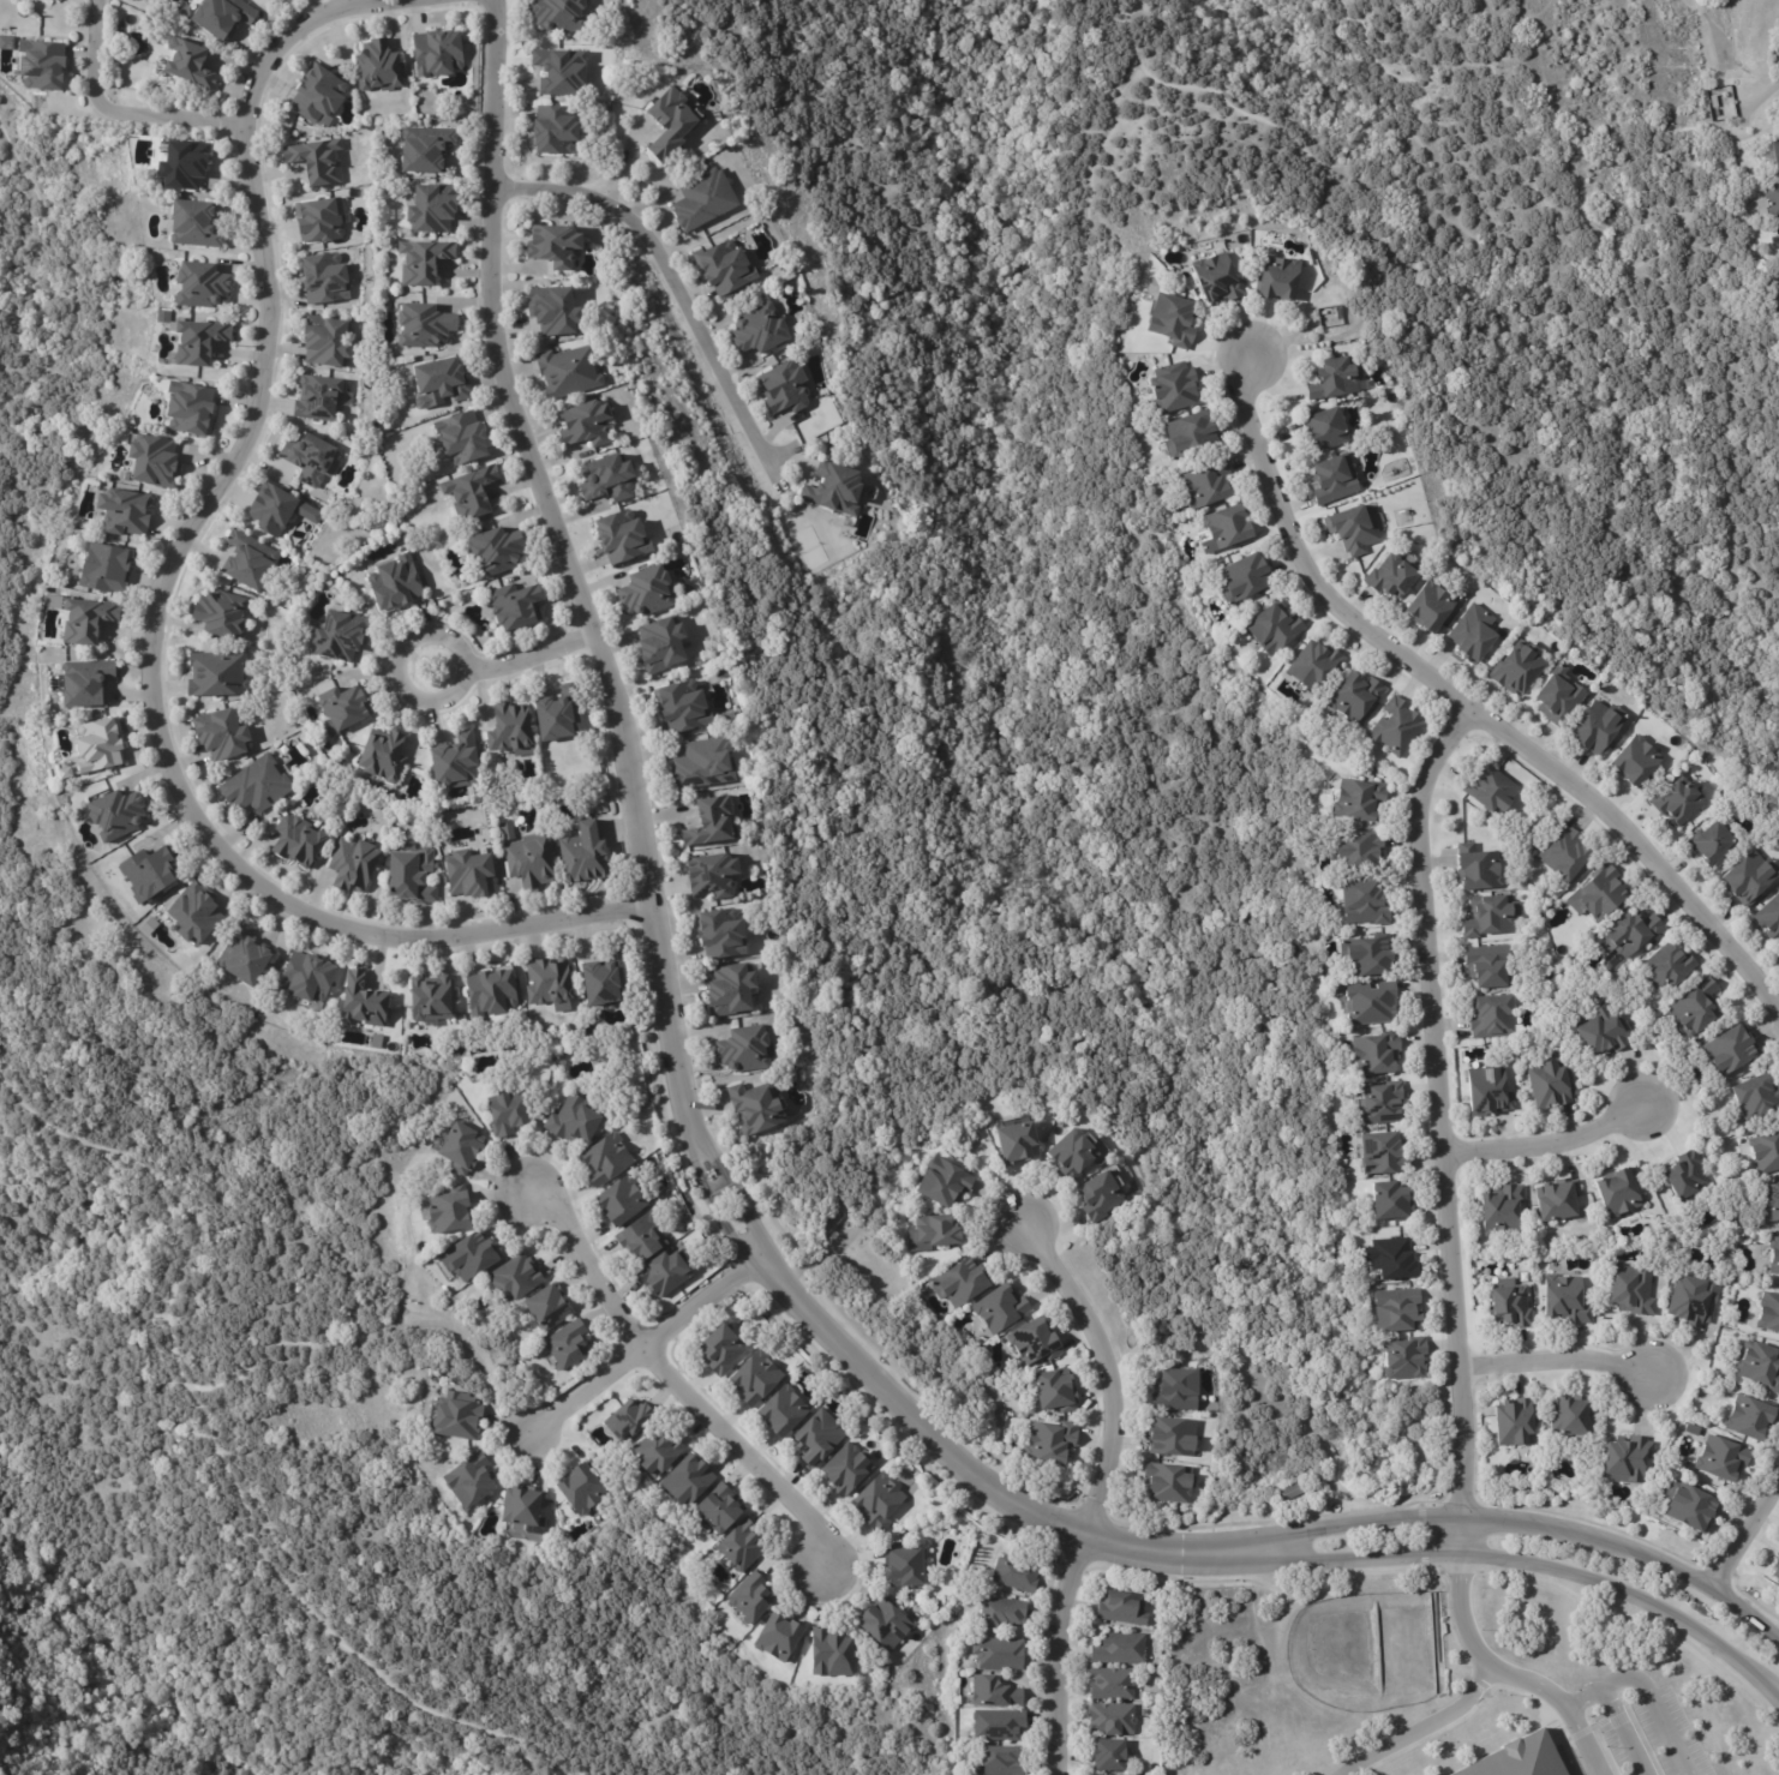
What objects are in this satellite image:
building: (52, 0)
building: (266, 0)
building: (558, 14)
building: (218, 17)
building: (436, 53)
building: (187, 64)
building: (36, 66)
building: (377, 66)
building: (558, 71)
building: (316, 96)
building: (1719, 102)
road: (110, 115)
building: (669, 124)
building: (552, 131)
building: (421, 149)
building: (1775, 155)
road: (624, 157)
building: (317, 161)
building: (180, 164)
building: (701, 199)
building: (1769, 202)
building: (429, 209)
building: (316, 220)
building: (190, 223)
building: (1778, 232)
building: (551, 246)
building: (1775, 247)
building: (423, 260)
building: (725, 269)
building: (1216, 275)
building: (1276, 276)
road: (666, 277)
building: (321, 278)
building: (199, 286)
building: (553, 312)
building: (1170, 316)
building: (423, 325)
building: (757, 330)
building: (193, 341)
building: (327, 341)
building: (567, 371)
building: (1332, 376)
building: (438, 384)
building: (1173, 384)
building: (784, 388)
building: (318, 398)
building: (186, 409)
building: (586, 424)
building: (1325, 426)
building: (1188, 432)
building: (460, 438)
building: (310, 458)
building: (149, 462)
building: (1332, 476)
building: (607, 479)
building: (1206, 481)
building: (833, 490)
building: (471, 492)
building: (277, 509)
building: (121, 512)
building: (1227, 524)
building: (1350, 527)
building: (618, 538)
building: (493, 548)
building: (247, 562)
building: (101, 568)
building: (1242, 575)
building: (1391, 575)
building: (394, 581)
building: (688, 586)
building: (646, 592)
building: (515, 604)
building: (1428, 604)
building: (218, 614)
building: (86, 620)
road: (160, 622)
building: (1271, 626)
building: (1472, 631)
building: (342, 635)
building: (661, 646)
road: (531, 656)
building: (1313, 662)
building: (1517, 668)
road: (391, 672)
building: (721, 672)
building: (216, 676)
building: (79, 685)
building: (1353, 695)
building: (1558, 695)
building: (345, 708)
building: (683, 708)
road: (1470, 712)
building: (557, 718)
building: (726, 719)
building: (1395, 725)
building: (1597, 725)
building: (511, 731)
building: (221, 737)
building: (339, 743)
building: (94, 749)
building: (382, 754)
building: (1635, 758)
building: (457, 760)
building: (700, 761)
building: (253, 787)
building: (1490, 787)
building: (1358, 798)
building: (1678, 800)
building: (113, 816)
building: (711, 818)
building: (296, 844)
building: (1713, 844)
building: (1361, 851)
building: (1563, 852)
building: (582, 854)
building: (523, 856)
building: (352, 865)
building: (1476, 866)
building: (473, 871)
building: (148, 874)
building: (411, 874)
building: (712, 876)
building: (1750, 876)
building: (1598, 892)
building: (1362, 901)
building: (1490, 915)
building: (192, 916)
building: (1769, 918)
road: (659, 921)
building: (1630, 933)
building: (720, 935)
building: (1366, 954)
building: (241, 958)
building: (1670, 964)
building: (1489, 965)
building: (305, 978)
building: (604, 982)
building: (549, 983)
building: (729, 991)
building: (490, 994)
building: (361, 1002)
building: (430, 1002)
building: (1370, 1002)
building: (1695, 1007)
building: (1491, 1015)
building: (1603, 1031)
building: (743, 1049)
building: (1730, 1049)
building: (1376, 1053)
building: (1551, 1083)
building: (1487, 1092)
building: (1756, 1098)
building: (1382, 1102)
road: (1442, 1108)
building: (755, 1109)
building: (504, 1113)
building: (574, 1121)
building: (1014, 1143)
building: (460, 1145)
road: (1549, 1149)
building: (1766, 1152)
building: (1383, 1153)
building: (1070, 1155)
building: (605, 1161)
building: (1685, 1176)
building: (940, 1182)
building: (1619, 1192)
building: (1098, 1197)
building: (1557, 1199)
building: (1390, 1201)
building: (1771, 1203)
building: (621, 1204)
building: (1502, 1210)
building: (448, 1211)
building: (932, 1233)
building: (642, 1240)
building: (468, 1255)
building: (1774, 1255)
building: (1390, 1258)
building: (514, 1277)
building: (663, 1277)
building: (958, 1283)
building: (1631, 1293)
building: (1694, 1300)
building: (1565, 1301)
building: (546, 1306)
building: (1510, 1306)
building: (999, 1308)
building: (1395, 1311)
building: (1768, 1312)
building: (1034, 1342)
building: (567, 1344)
building: (719, 1345)
road: (648, 1347)
building: (1404, 1359)
road: (1559, 1361)
building: (1760, 1366)
building: (754, 1377)
road: (676, 1383)
building: (1055, 1391)
building: (1175, 1391)
building: (779, 1408)
building: (1569, 1413)
building: (454, 1416)
building: (628, 1419)
building: (1749, 1419)
building: (1513, 1420)
building: (816, 1435)
building: (1170, 1438)
building: (1049, 1443)
building: (657, 1451)
building: (1623, 1457)
building: (1721, 1459)
building: (845, 1467)
building: (687, 1479)
building: (471, 1481)
building: (1167, 1483)
building: (581, 1487)
road: (1095, 1488)
building: (1290, 1489)
building: (876, 1500)
building: (521, 1501)
building: (1688, 1503)
building: (717, 1509)
road: (1523, 1528)
road: (1749, 1533)
building: (741, 1545)
building: (1778, 1553)
road: (1529, 1563)
building: (903, 1564)
building: (1775, 1571)
building: (1014, 1572)
building: (750, 1597)
building: (1120, 1606)
building: (1000, 1611)
building: (881, 1621)
building: (774, 1633)
building: (1119, 1647)
building: (996, 1651)
building: (829, 1653)
road: (1480, 1678)
building: (1110, 1683)
road: (1531, 1683)
building: (993, 1690)
road: (1647, 1697)
building: (1110, 1717)
building: (996, 1723)
road: (1619, 1735)
road: (1583, 1745)
building: (1107, 1752)
building: (1511, 1758)
building: (1000, 1759)
building: (1108, 1774)

